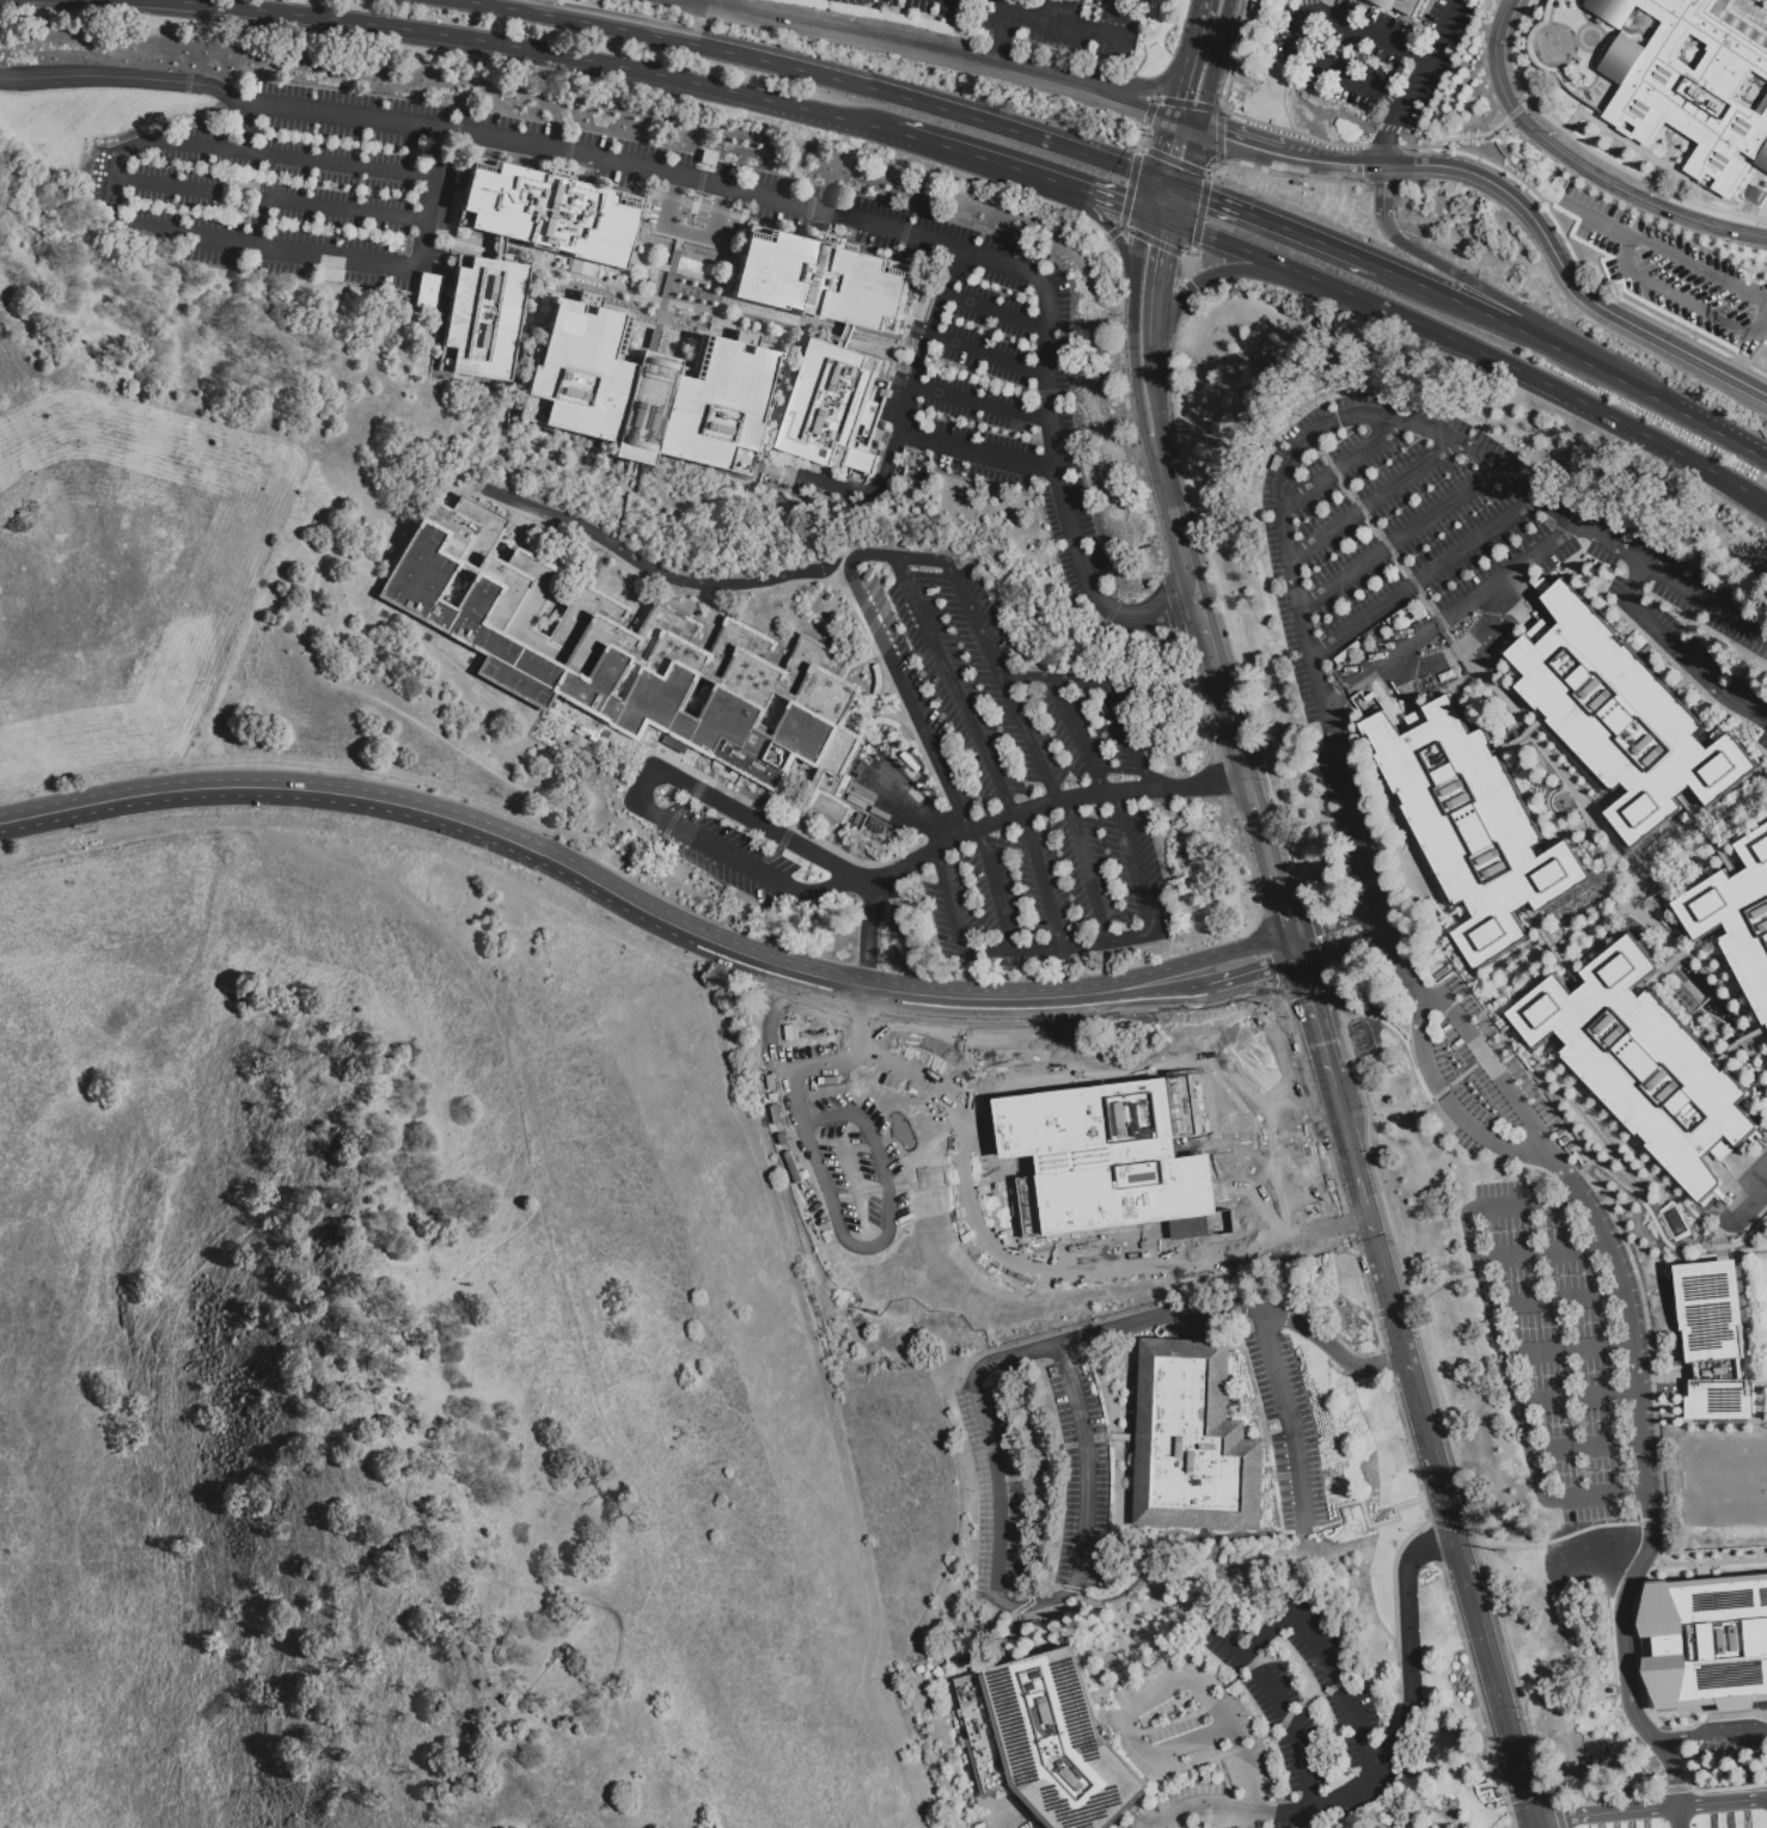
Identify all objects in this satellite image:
road: (2, 1)
road: (695, 4)
road: (719, 4)
building: (1406, 6)
road: (1202, 7)
road: (1008, 8)
road: (1225, 17)
road: (1068, 29)
road: (1364, 32)
road: (857, 35)
road: (1193, 41)
road: (1001, 42)
park: (1553, 47)
road: (540, 50)
road: (1433, 53)
road: (1328, 71)
road: (805, 74)
road: (117, 75)
road: (1050, 81)
road: (1210, 81)
building: (1689, 86)
road: (1147, 88)
road: (1179, 93)
road: (1137, 110)
traffic signals: (1172, 120)
road: (245, 121)
road: (1185, 123)
traffic signals: (1198, 128)
road: (1392, 134)
road: (1240, 141)
road: (1162, 148)
road: (1190, 158)
road: (979, 159)
road: (1303, 160)
road: (1356, 164)
road: (1578, 165)
traffic signals: (1155, 178)
road: (1169, 183)
road: (106, 185)
road: (1068, 187)
road: (161, 188)
traffic signals: (1184, 189)
road: (1382, 189)
road: (1150, 196)
road: (1076, 198)
road: (429, 200)
road: (320, 202)
road: (1119, 203)
road: (1179, 207)
road: (802, 208)
building: (548, 210)
traffic signals: (1145, 214)
road: (1160, 219)
road: (1597, 219)
traffic signals: (1175, 225)
road: (1282, 230)
road: (689, 234)
building: (497, 244)
road: (1137, 246)
road: (1120, 251)
building: (642, 252)
road: (1243, 252)
road: (1164, 259)
road: (1628, 268)
parking lot: (1671, 270)
road: (1570, 276)
road: (1209, 279)
building: (823, 282)
building: (410, 285)
building: (422, 293)
road: (1762, 296)
building: (435, 298)
road: (1444, 298)
building: (924, 301)
road: (1762, 302)
road: (997, 313)
building: (483, 318)
building: (421, 322)
road: (1156, 322)
road: (1552, 326)
road: (990, 355)
road: (1133, 360)
road: (1618, 380)
road: (1545, 385)
building: (650, 393)
road: (1154, 393)
road: (985, 406)
road: (911, 409)
building: (833, 411)
road: (1364, 417)
road: (1747, 448)
road: (982, 452)
road: (1344, 464)
road: (1158, 473)
road: (1371, 499)
road: (1399, 537)
road: (870, 552)
road: (1182, 554)
road: (1580, 554)
road: (924, 558)
road: (662, 574)
road: (1426, 576)
road: (1141, 616)
road: (1454, 616)
road: (1205, 626)
road: (1626, 635)
building: (862, 637)
road: (1499, 650)
road: (1460, 653)
road: (1679, 653)
building: (624, 656)
road: (1669, 660)
road: (1052, 679)
road: (1003, 684)
road: (953, 685)
building: (879, 686)
road: (1450, 686)
road: (1681, 687)
road: (905, 696)
road: (1515, 715)
road: (1230, 717)
building: (1620, 719)
building: (889, 726)
road: (1718, 730)
road: (1078, 736)
road: (1129, 736)
road: (1524, 738)
road: (638, 789)
road: (1609, 802)
road: (1255, 806)
road: (918, 809)
road: (1003, 818)
road: (756, 823)
building: (1473, 824)
road: (1712, 834)
road: (1567, 836)
road: (717, 849)
road: (1578, 849)
road: (1267, 852)
road: (543, 855)
road: (1420, 857)
road: (1135, 862)
road: (1088, 867)
road: (1368, 867)
road: (1431, 867)
road: (1041, 878)
road: (863, 881)
road: (817, 891)
road: (1282, 904)
building: (1737, 918)
road: (1335, 922)
road: (1131, 935)
road: (1084, 942)
road: (1390, 946)
road: (1034, 947)
road: (1295, 947)
road: (1341, 947)
road: (1553, 947)
road: (996, 948)
road: (1680, 956)
road: (1462, 959)
road: (1528, 961)
road: (1578, 965)
road: (1180, 966)
road: (1065, 972)
road: (1253, 972)
road: (1719, 979)
road: (1520, 991)
road: (1139, 997)
road: (1687, 999)
road: (1693, 1015)
road: (1316, 1023)
road: (771, 1031)
road: (1740, 1045)
road: (1502, 1046)
road: (1412, 1058)
road: (1487, 1058)
building: (1645, 1065)
road: (1044, 1069)
road: (1588, 1093)
road: (1444, 1095)
road: (1579, 1100)
road: (1343, 1118)
road: (888, 1124)
road: (790, 1138)
road: (1632, 1147)
road: (1641, 1148)
building: (1125, 1157)
road: (1560, 1167)
road: (982, 1169)
building: (1325, 1176)
road: (1639, 1182)
road: (1361, 1185)
road: (1749, 1196)
road: (954, 1202)
building: (1255, 1208)
road: (1645, 1209)
building: (1255, 1218)
building: (1158, 1228)
road: (1200, 1237)
road: (1722, 1240)
road: (1675, 1253)
road: (1545, 1255)
building: (1099, 1257)
road: (1724, 1258)
building: (1141, 1263)
road: (1205, 1267)
building: (1762, 1270)
building: (1126, 1272)
building: (1014, 1289)
road: (1559, 1301)
road: (1193, 1312)
building: (972, 1327)
road: (1632, 1332)
building: (1716, 1341)
road: (1502, 1347)
road: (1569, 1350)
road: (1578, 1398)
road: (1398, 1412)
road: (1291, 1422)
road: (1750, 1427)
building: (1193, 1442)
road: (1586, 1448)
park: (1720, 1481)
road: (1364, 1517)
road: (1647, 1520)
road: (1454, 1524)
road: (1051, 1600)
building: (1736, 1644)
road: (1328, 1658)
road: (1162, 1688)
road: (1627, 1691)
road: (1283, 1710)
road: (1712, 1732)
building: (1046, 1742)
road: (1388, 1757)
road: (1722, 1803)
road: (1606, 1812)
road: (1028, 1814)
road: (1231, 1817)
parking lot: (1004, 1821)
road: (1523, 1823)
road: (1426, 1827)

